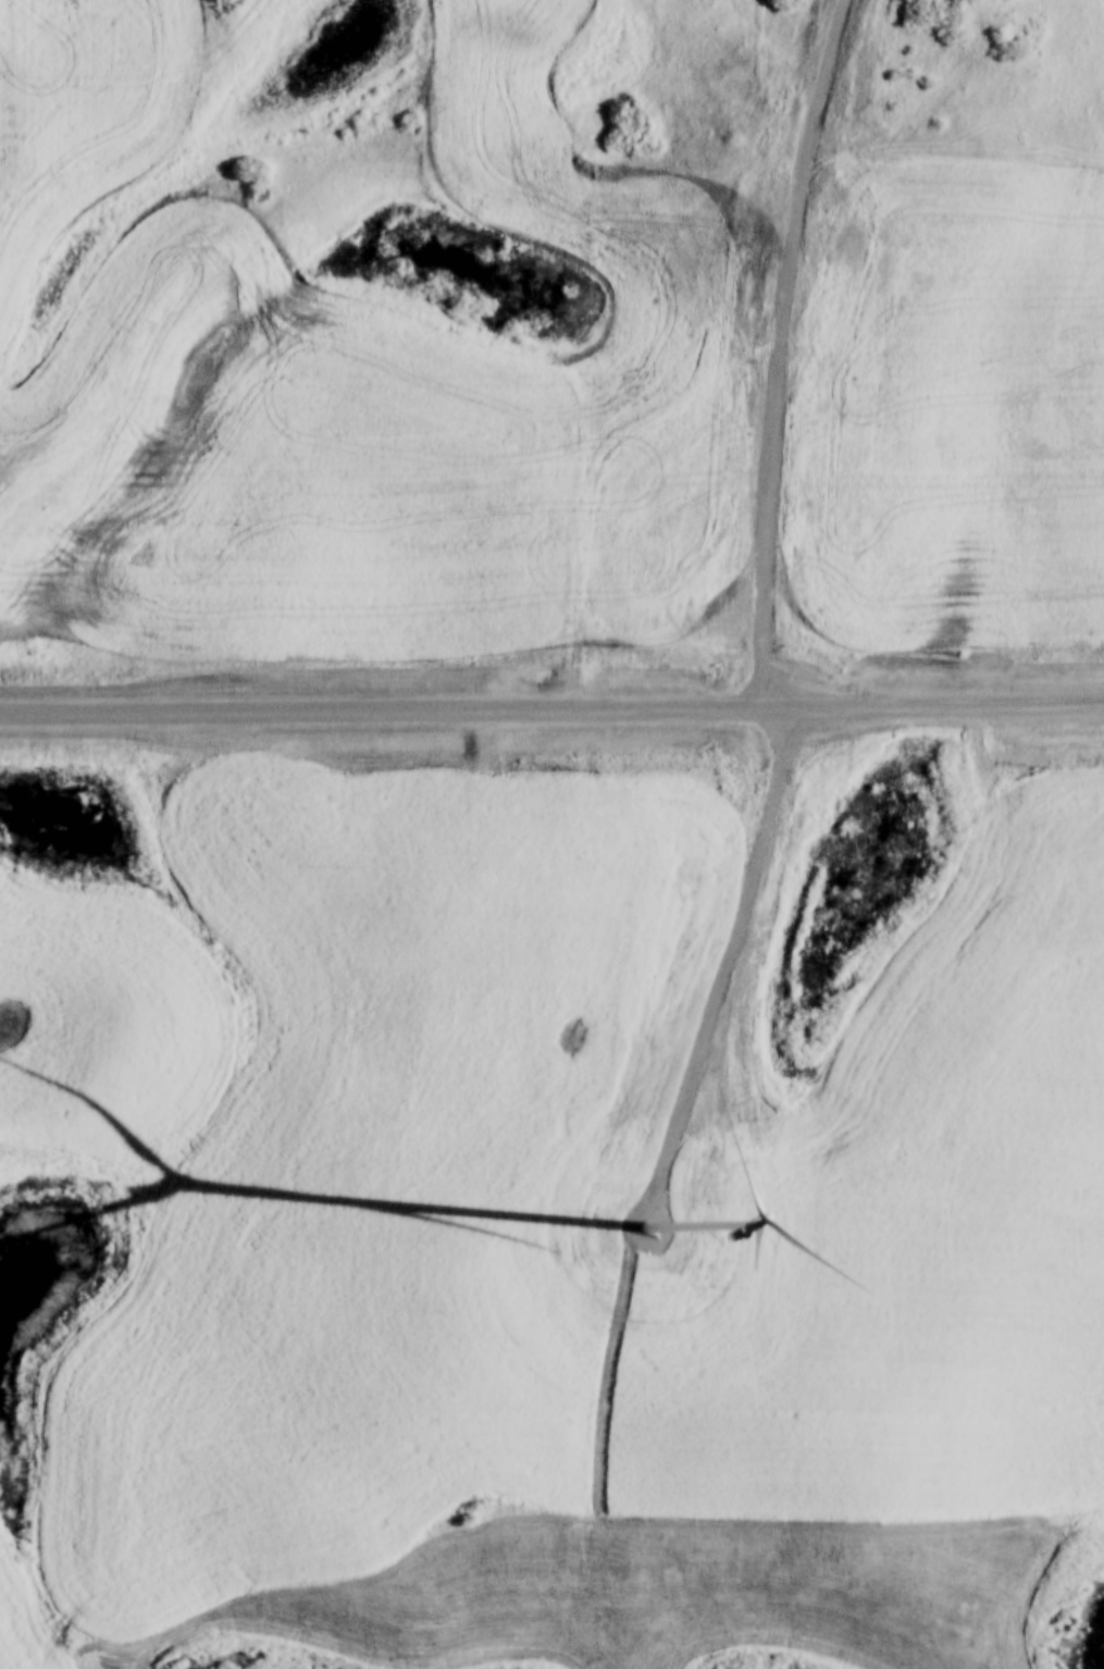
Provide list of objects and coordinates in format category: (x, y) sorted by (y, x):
road: (768, 349)
road: (551, 708)
wind turbine: (630, 1226)

